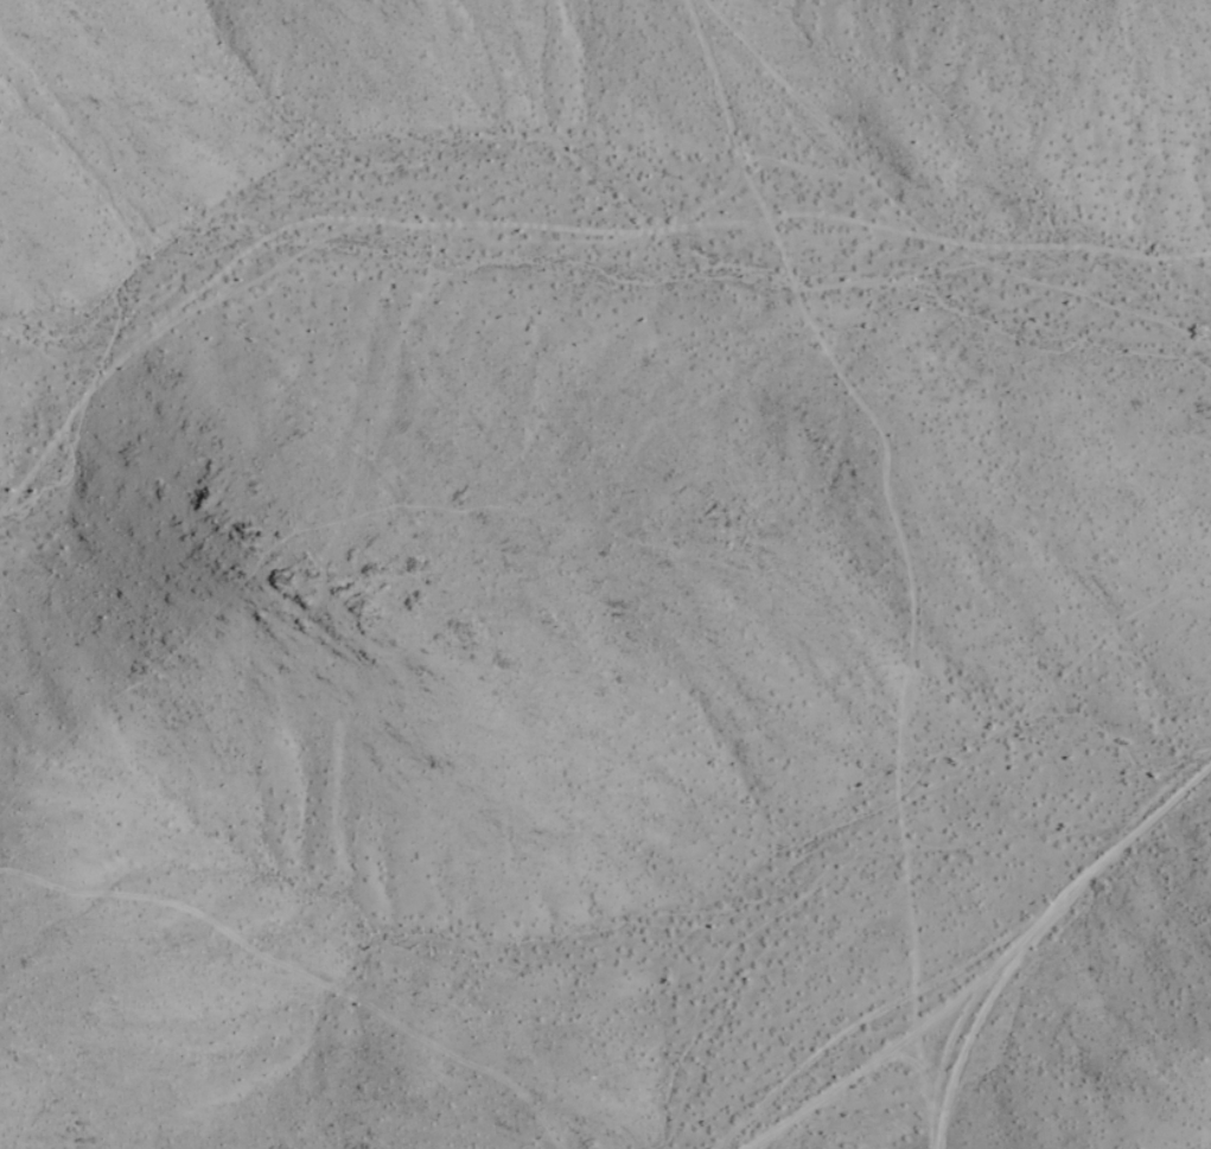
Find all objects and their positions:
road: (919, 1084)

